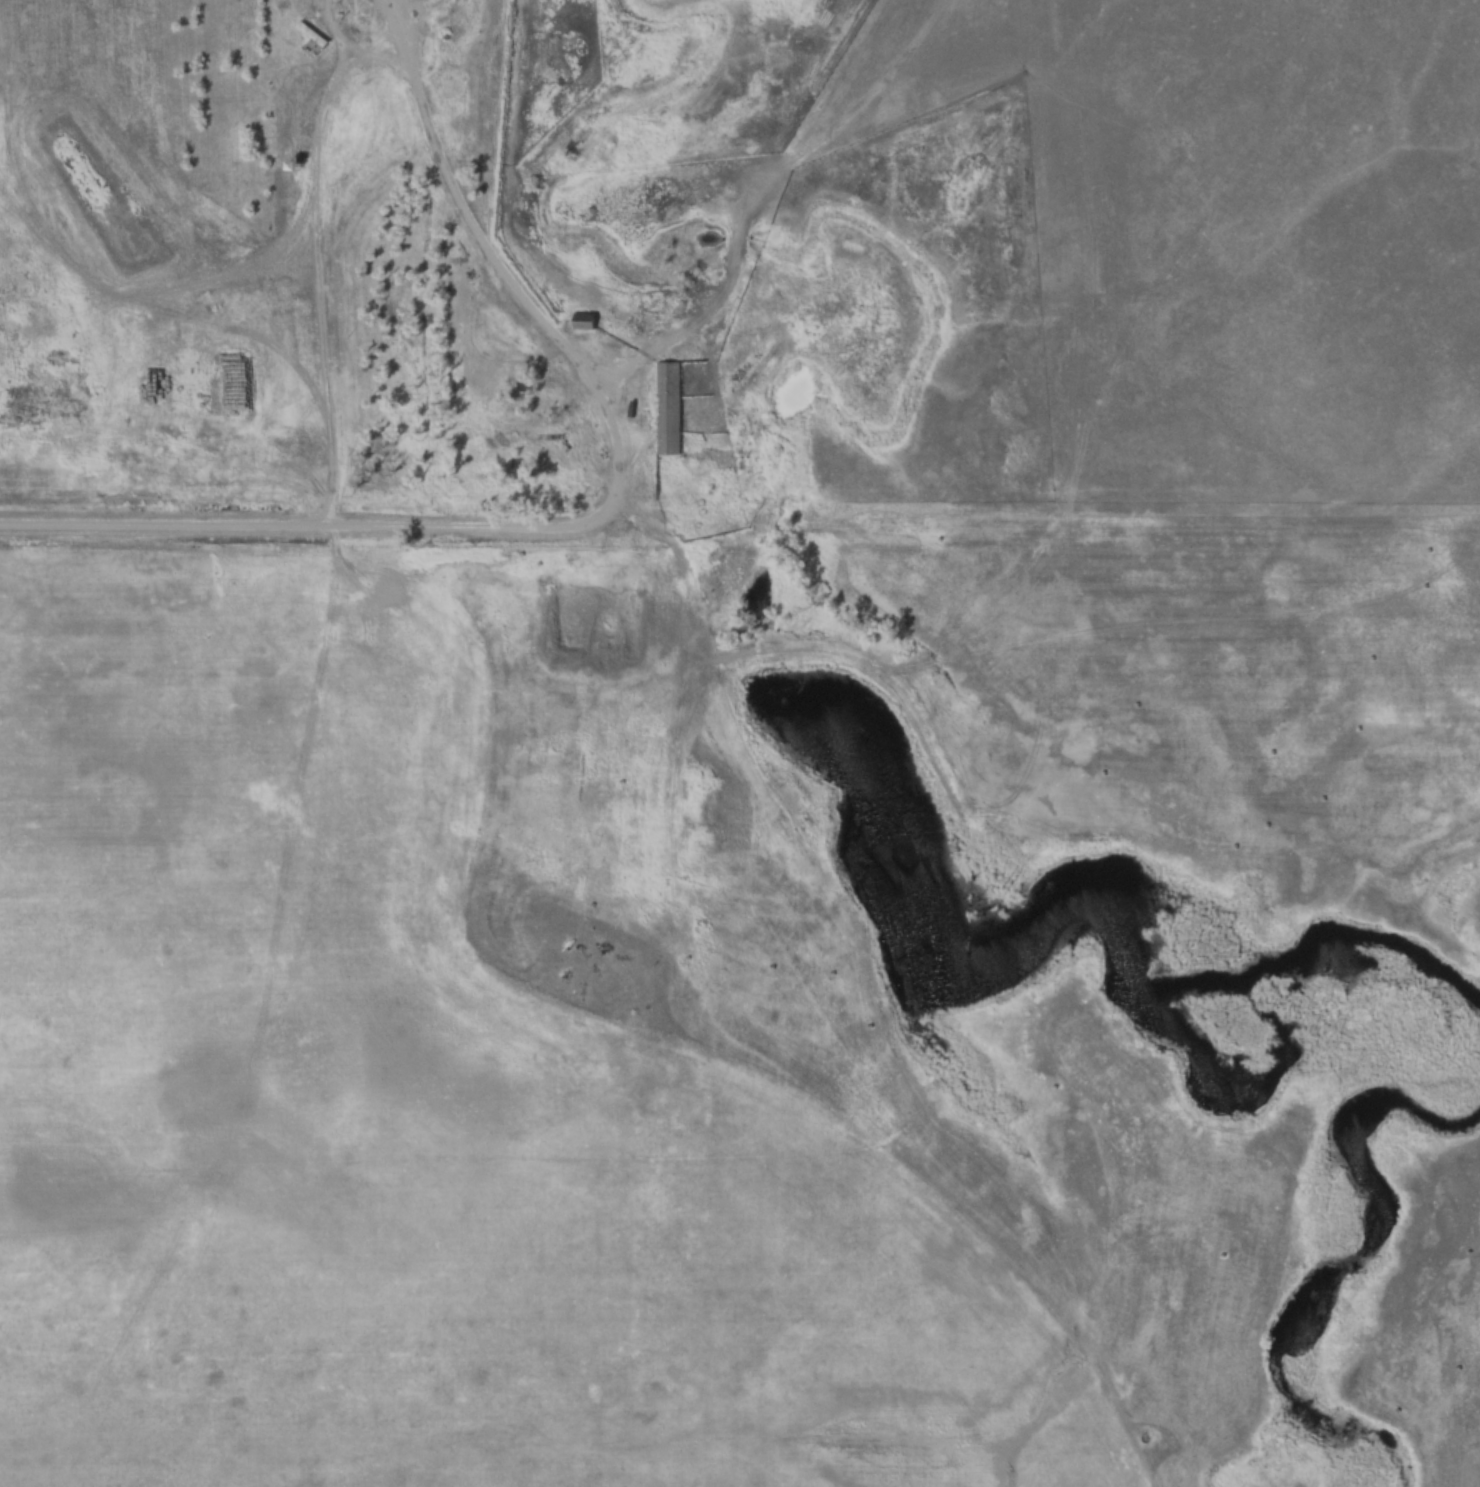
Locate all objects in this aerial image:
building: (311, 38)
road: (497, 262)
building: (580, 322)
road: (690, 331)
building: (665, 409)
road: (533, 522)

